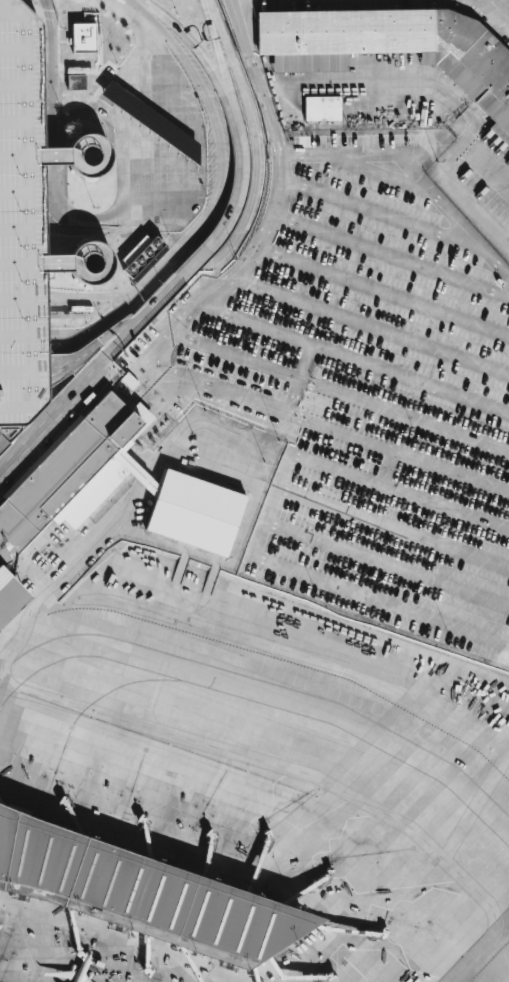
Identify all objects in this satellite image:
road: (499, 8)
parking lot: (500, 35)
building: (84, 37)
road: (141, 43)
building: (393, 47)
road: (202, 63)
road: (139, 66)
road: (145, 70)
road: (153, 73)
road: (160, 75)
road: (226, 75)
building: (76, 81)
road: (125, 102)
road: (184, 103)
road: (171, 107)
building: (322, 108)
road: (134, 109)
road: (43, 111)
road: (180, 116)
road: (145, 117)
building: (148, 120)
road: (153, 123)
road: (214, 128)
road: (162, 130)
road: (172, 138)
road: (182, 144)
road: (102, 148)
road: (189, 151)
road: (255, 156)
road: (56, 158)
road: (134, 165)
road: (146, 169)
road: (413, 169)
road: (155, 172)
road: (381, 172)
road: (164, 175)
road: (174, 178)
road: (192, 178)
road: (183, 179)
airport apron: (478, 179)
road: (55, 189)
road: (231, 203)
road: (473, 208)
road: (162, 210)
road: (380, 212)
building: (21, 220)
parking lot: (21, 220)
road: (39, 220)
road: (36, 228)
road: (22, 229)
road: (93, 230)
road: (390, 252)
building: (142, 256)
road: (38, 263)
road: (194, 263)
road: (101, 272)
road: (150, 284)
road: (18, 286)
road: (383, 289)
road: (197, 301)
road: (23, 302)
road: (89, 302)
road: (74, 315)
road: (23, 316)
road: (142, 316)
road: (371, 324)
road: (91, 334)
road: (75, 335)
road: (23, 338)
road: (91, 346)
road: (236, 354)
road: (353, 358)
road: (306, 360)
road: (23, 365)
parking lot: (373, 393)
road: (294, 395)
road: (53, 409)
road: (405, 413)
road: (452, 470)
airport: (254, 491)
airport terminal: (106, 493)
building: (106, 493)
road: (446, 505)
road: (394, 528)
road: (270, 559)
road: (388, 562)
road: (68, 575)
road: (301, 653)
road: (4, 675)
airport taxiway: (360, 738)
road: (309, 773)
airport apron: (257, 775)
road: (476, 805)
airport terminal: (136, 890)
building: (136, 890)

